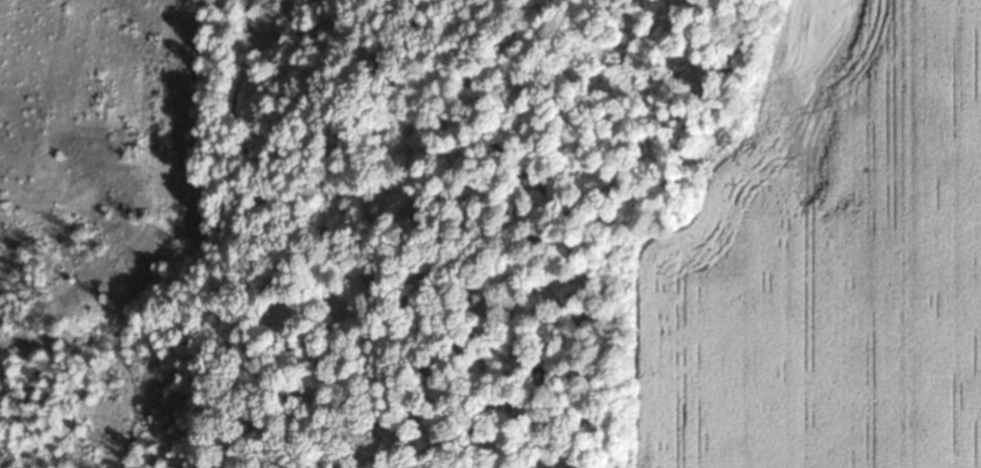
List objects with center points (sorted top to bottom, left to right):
road: (175, 243)

